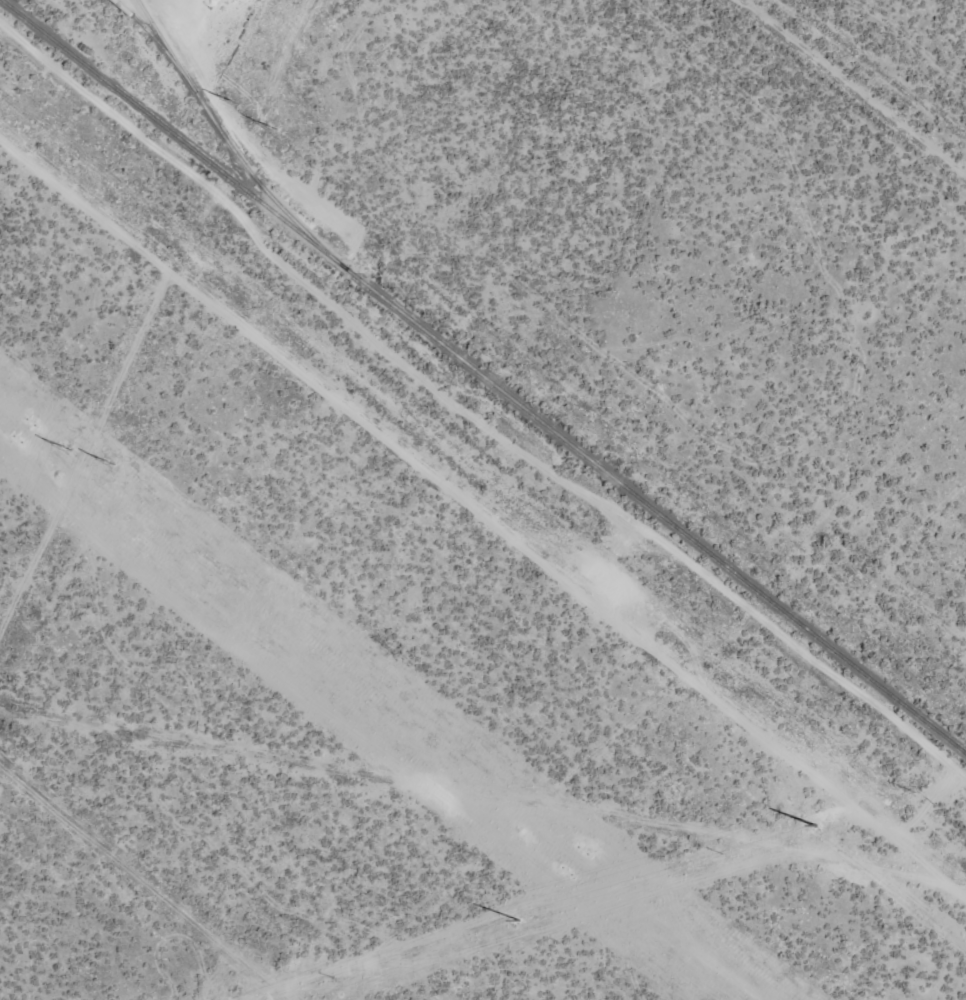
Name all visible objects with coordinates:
power tower: (237, 103)
power tower: (274, 128)
railway: (483, 377)
power tower: (23, 432)
power tower: (67, 450)
power tower: (111, 464)
power tower: (813, 825)
power tower: (571, 862)
power tower: (521, 922)

